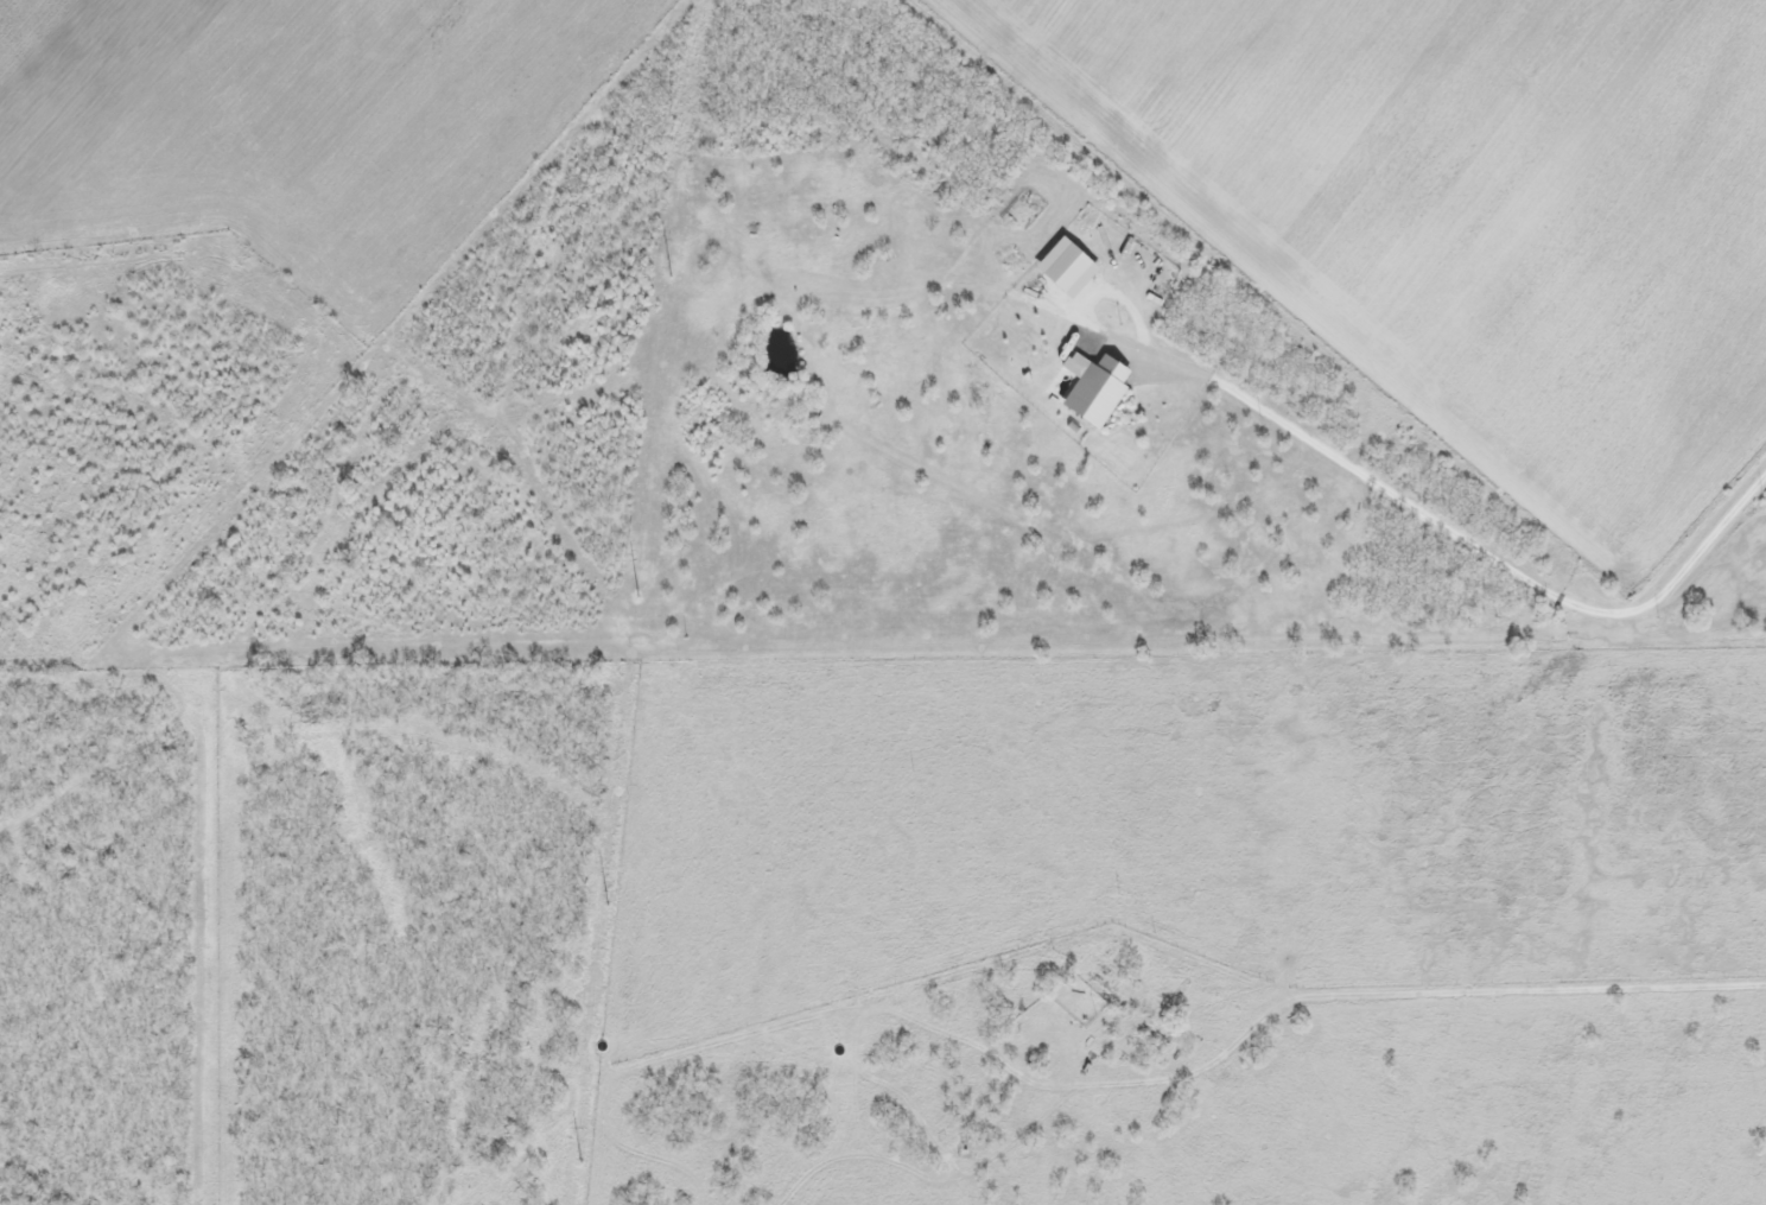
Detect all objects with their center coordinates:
power tower: (667, 275)
building: (1097, 392)
power tower: (636, 596)
power tower: (604, 903)
building: (1169, 982)
road: (1488, 989)
power tower: (577, 1162)

